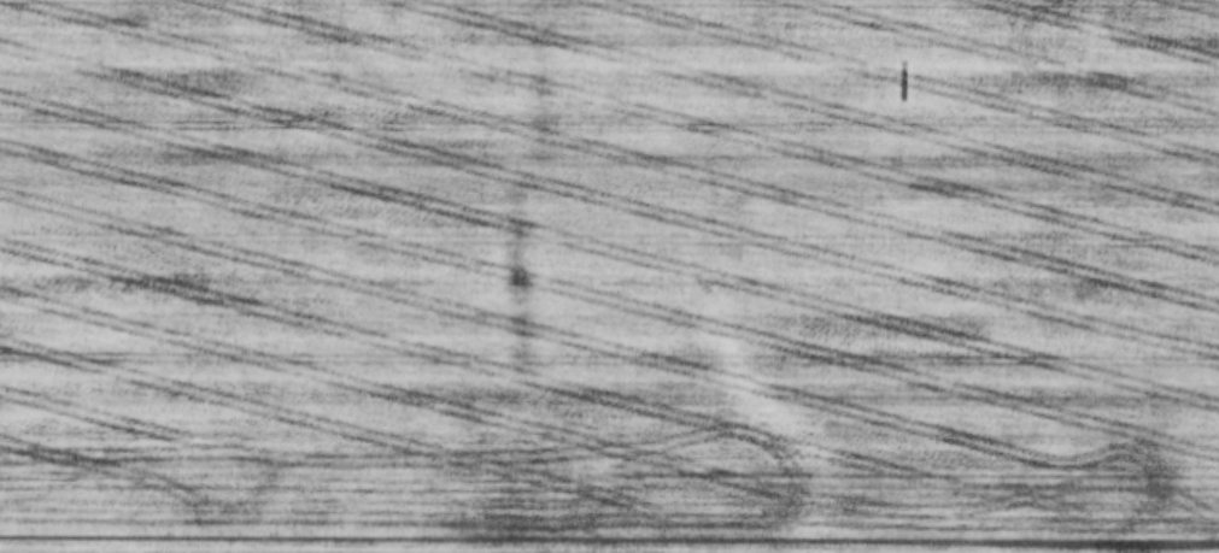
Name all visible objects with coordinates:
crop: (609, 276)

